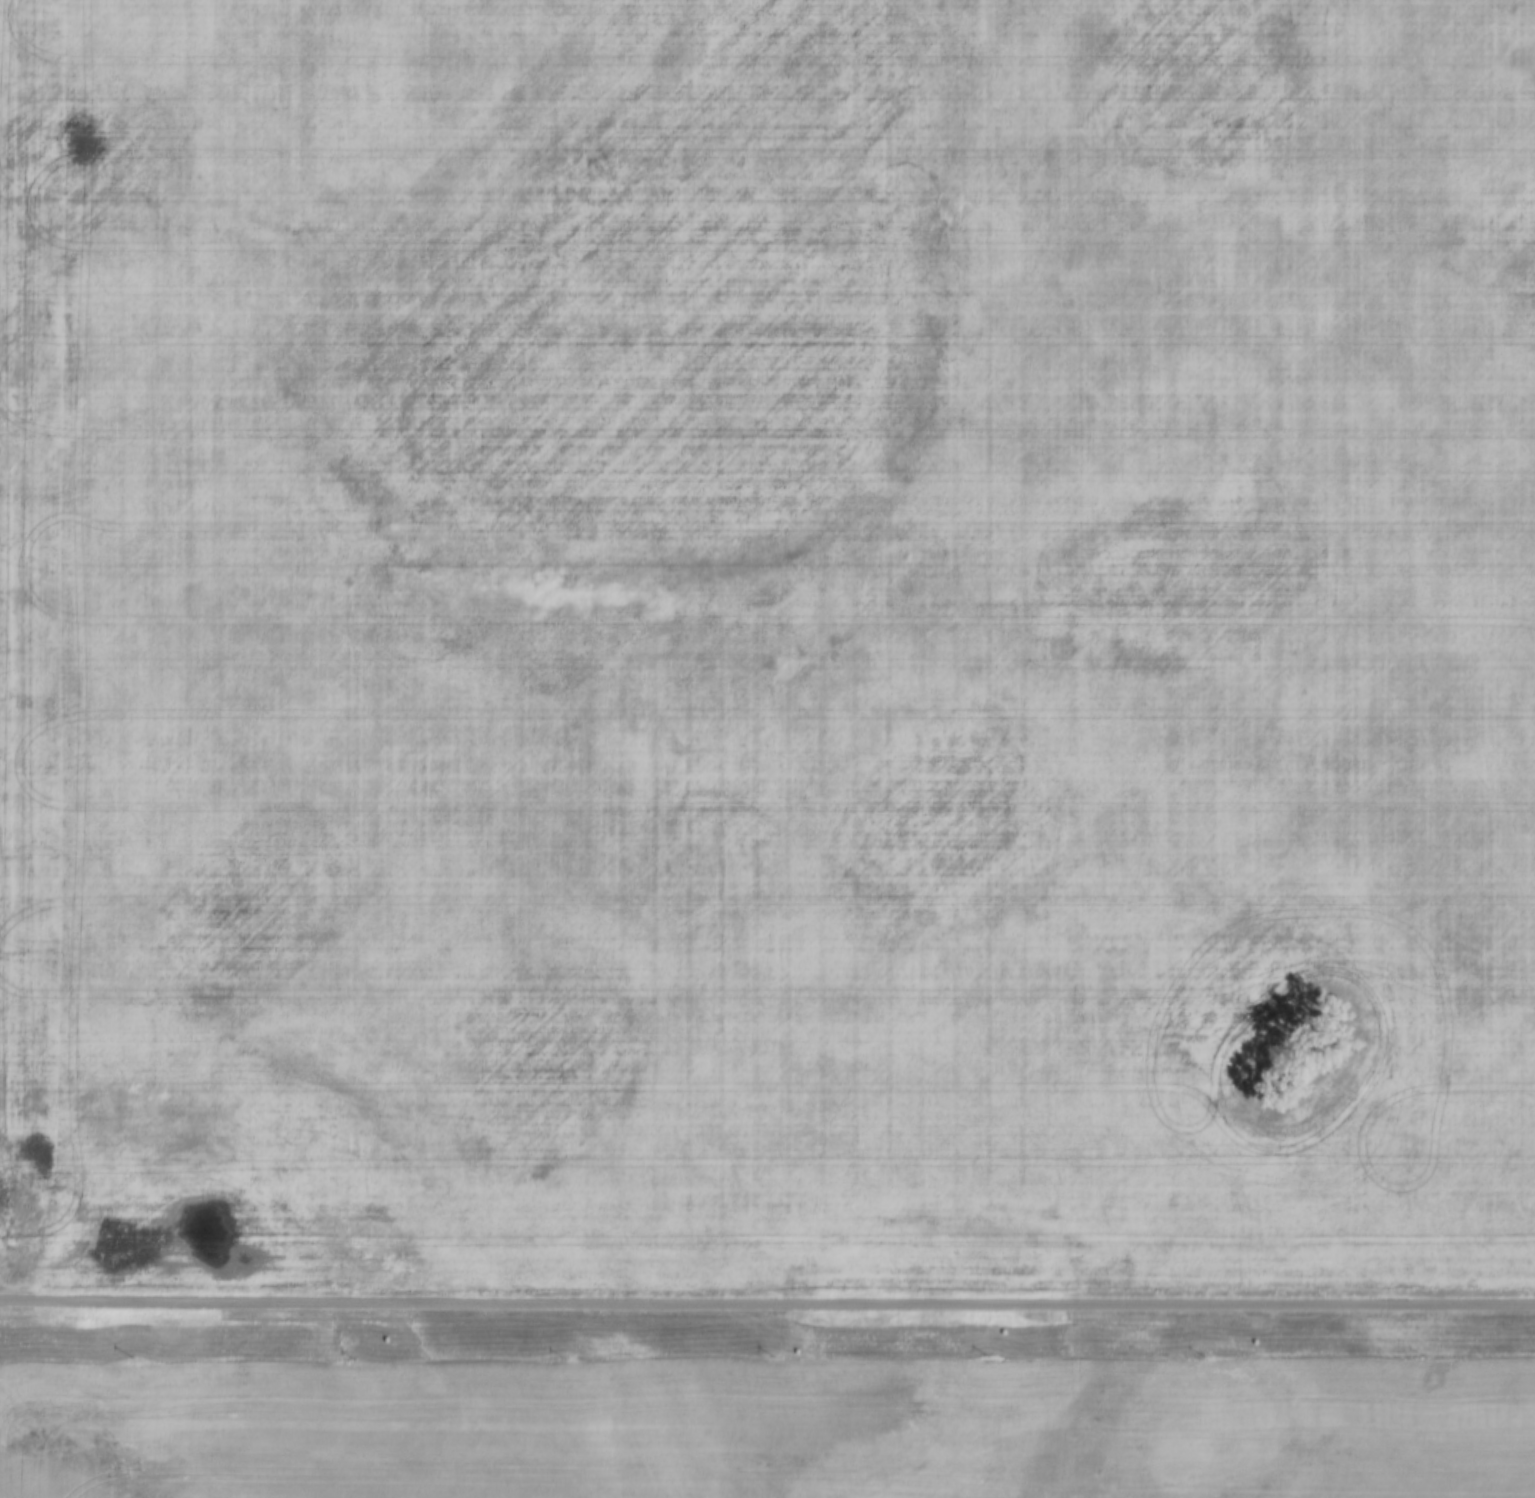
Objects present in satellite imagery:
road: (767, 1310)

